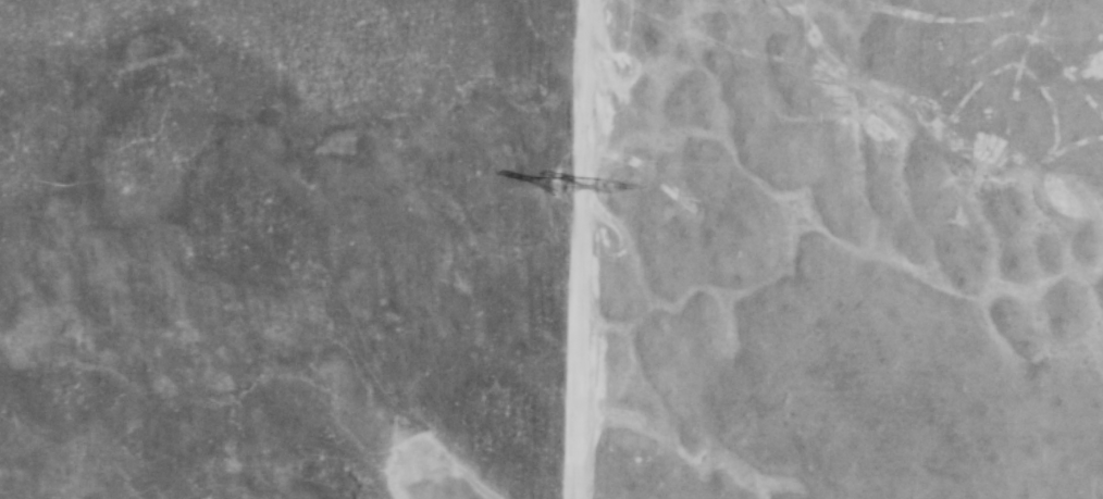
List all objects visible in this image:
power tower: (602, 186)
power tower: (561, 187)

